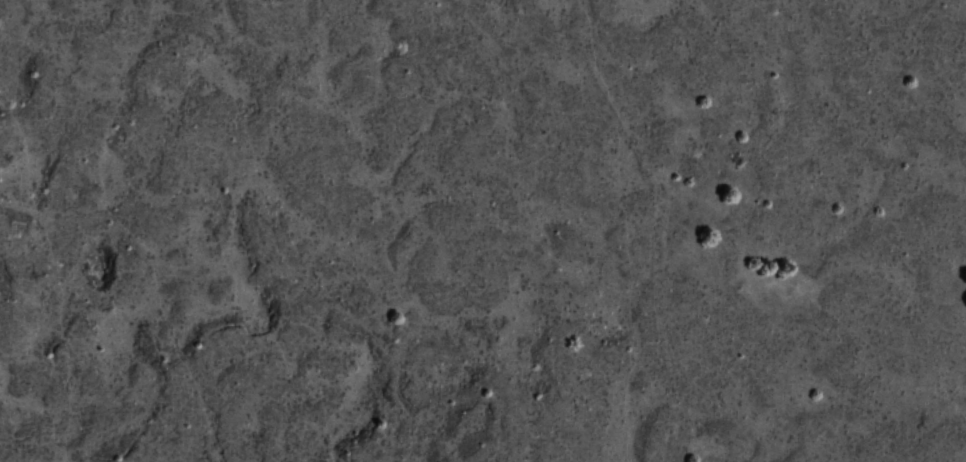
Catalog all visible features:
road: (664, 224)

